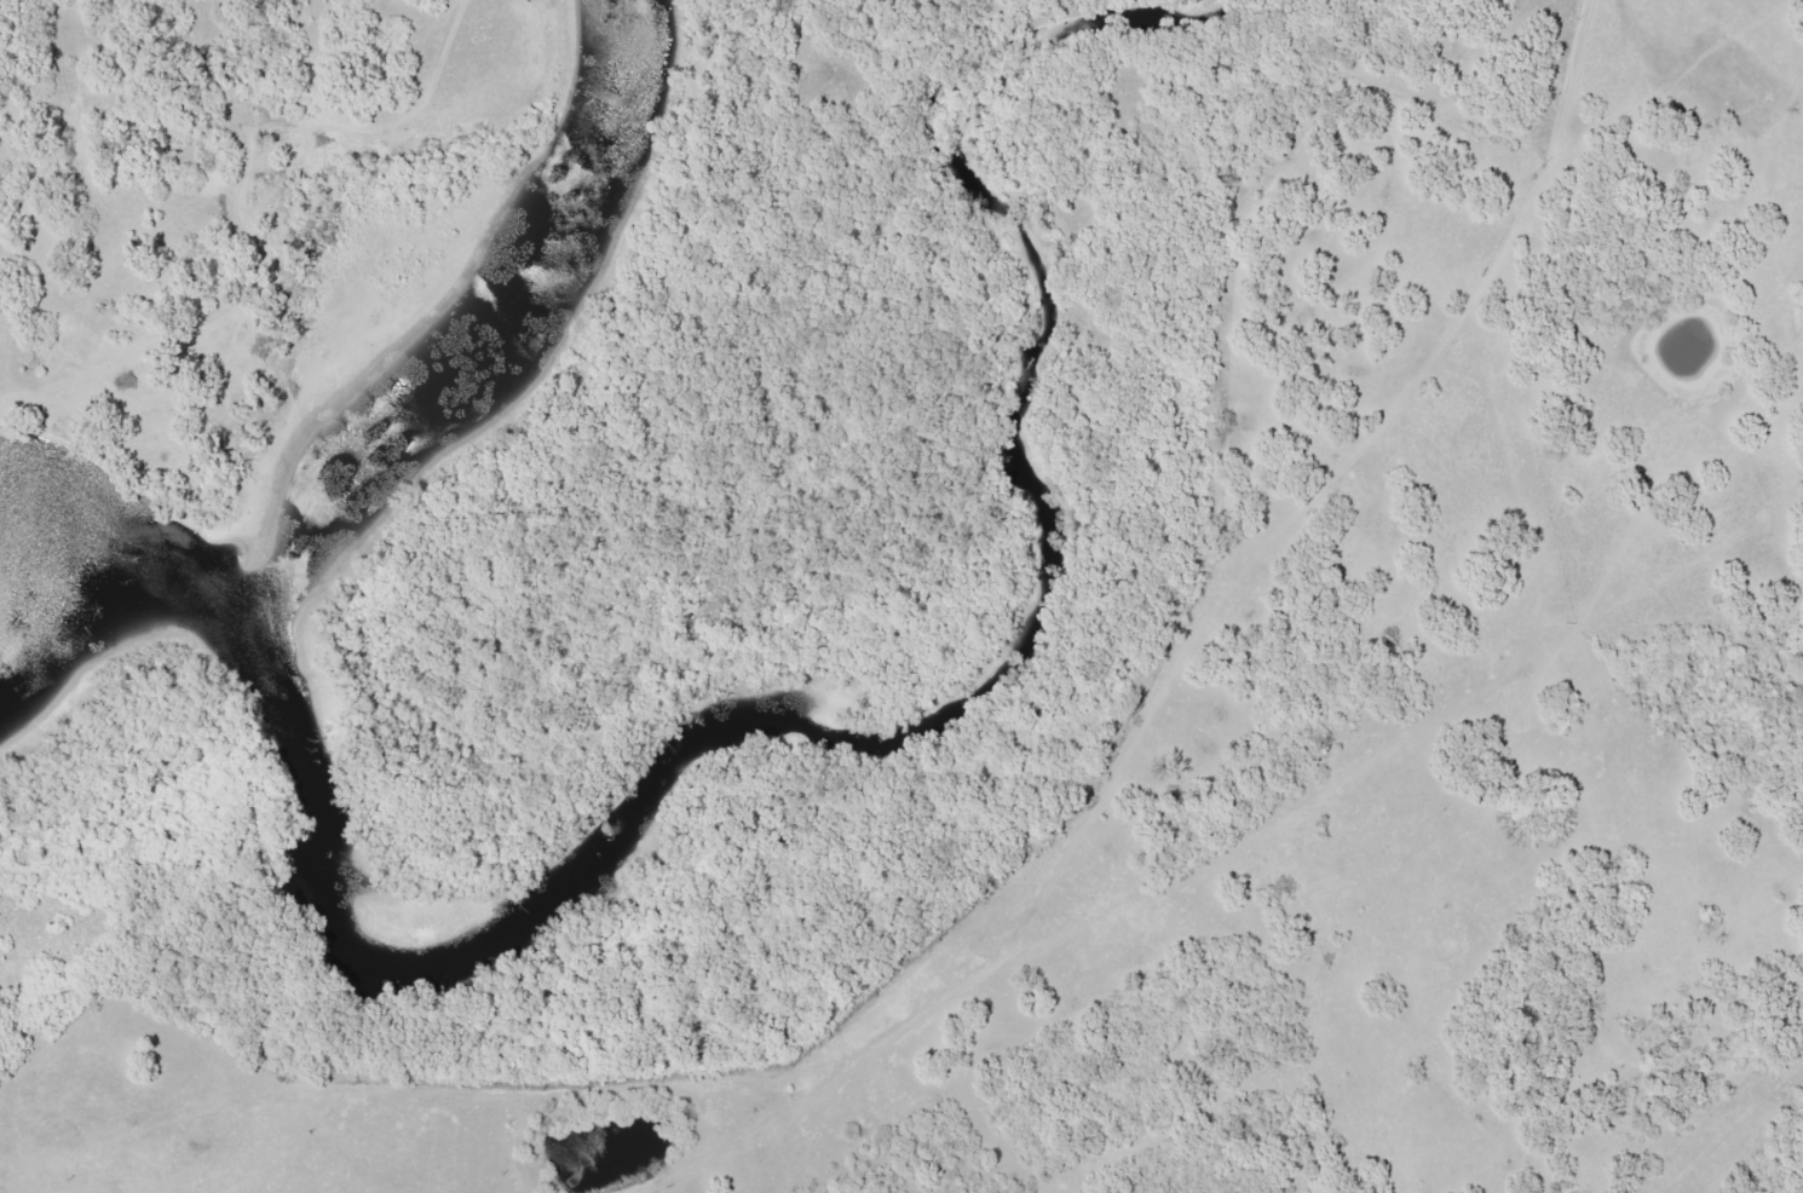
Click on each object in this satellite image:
road: (1174, 653)

